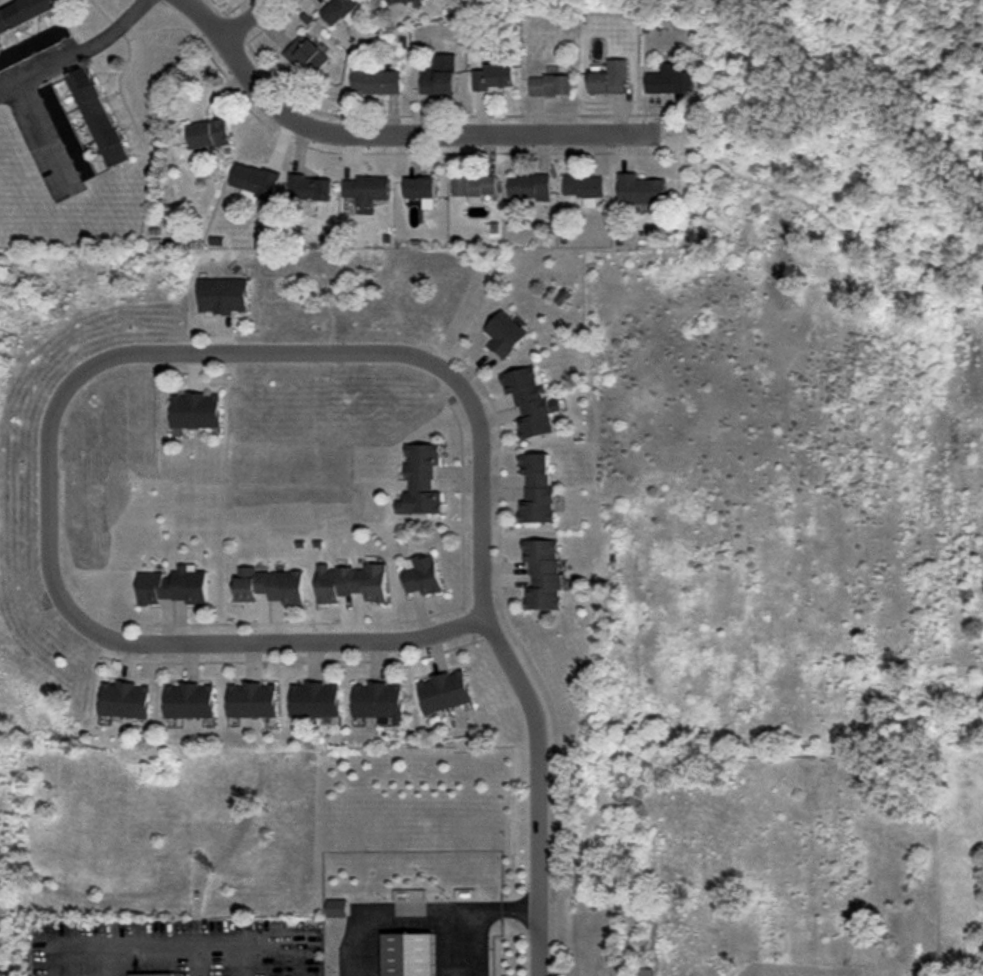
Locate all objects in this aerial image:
building: (397, 1)
building: (342, 11)
building: (25, 13)
road: (246, 19)
building: (34, 46)
road: (78, 52)
building: (306, 56)
building: (494, 77)
building: (610, 78)
building: (440, 79)
building: (670, 80)
building: (377, 82)
building: (551, 85)
building: (100, 117)
road: (391, 128)
building: (68, 133)
building: (210, 134)
road: (41, 136)
building: (255, 184)
building: (309, 187)
building: (474, 187)
building: (529, 187)
building: (584, 188)
building: (421, 189)
building: (640, 189)
building: (367, 190)
building: (223, 295)
building: (505, 334)
road: (119, 353)
building: (531, 401)
building: (196, 411)
building: (421, 481)
building: (536, 489)
building: (543, 574)
building: (422, 575)
building: (352, 582)
building: (269, 585)
building: (174, 586)
building: (445, 691)
building: (125, 700)
building: (253, 700)
building: (315, 700)
building: (190, 701)
building: (380, 702)
road: (534, 791)
building: (337, 908)
road: (418, 912)
building: (406, 955)
building: (642, 972)
building: (149, 975)

